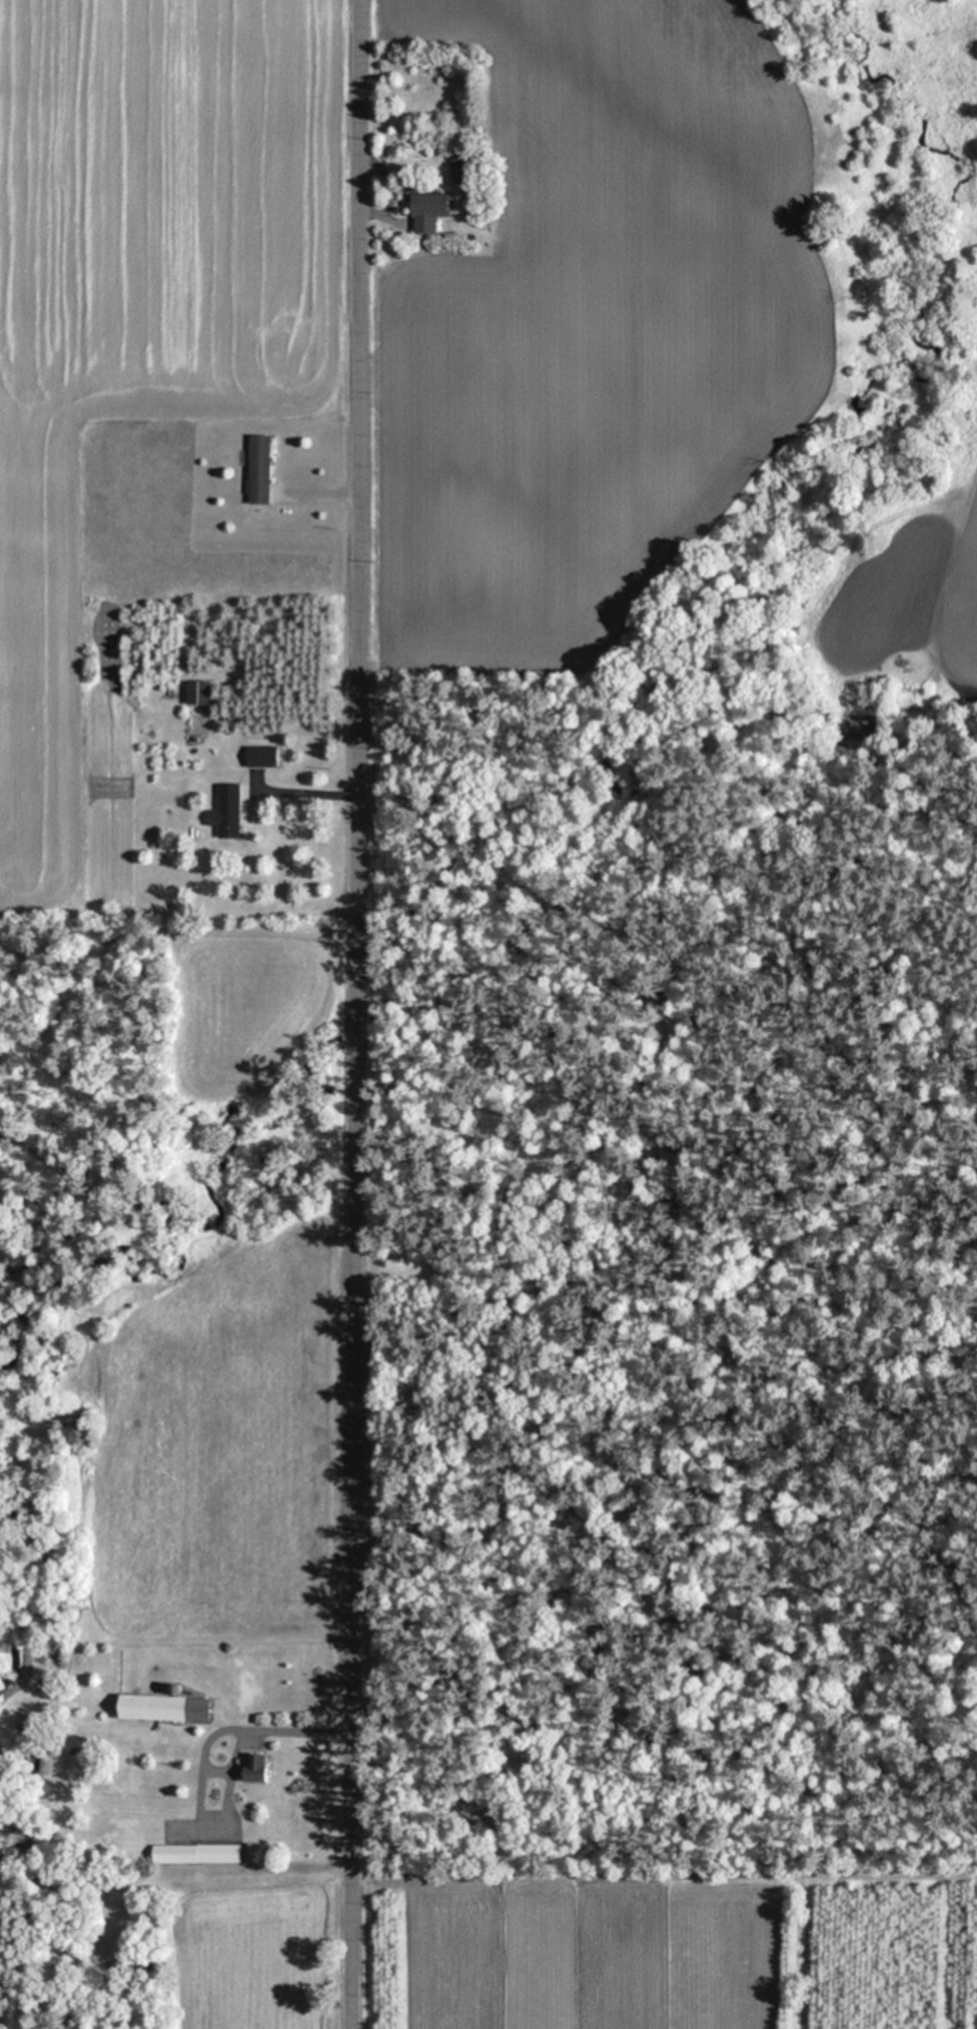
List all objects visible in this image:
road: (374, 211)
building: (429, 211)
building: (259, 469)
road: (329, 489)
road: (942, 600)
building: (197, 692)
building: (261, 756)
road: (309, 793)
building: (228, 811)
road: (355, 1014)
building: (163, 1707)
road: (291, 1730)
building: (255, 1767)
building: (196, 1853)

